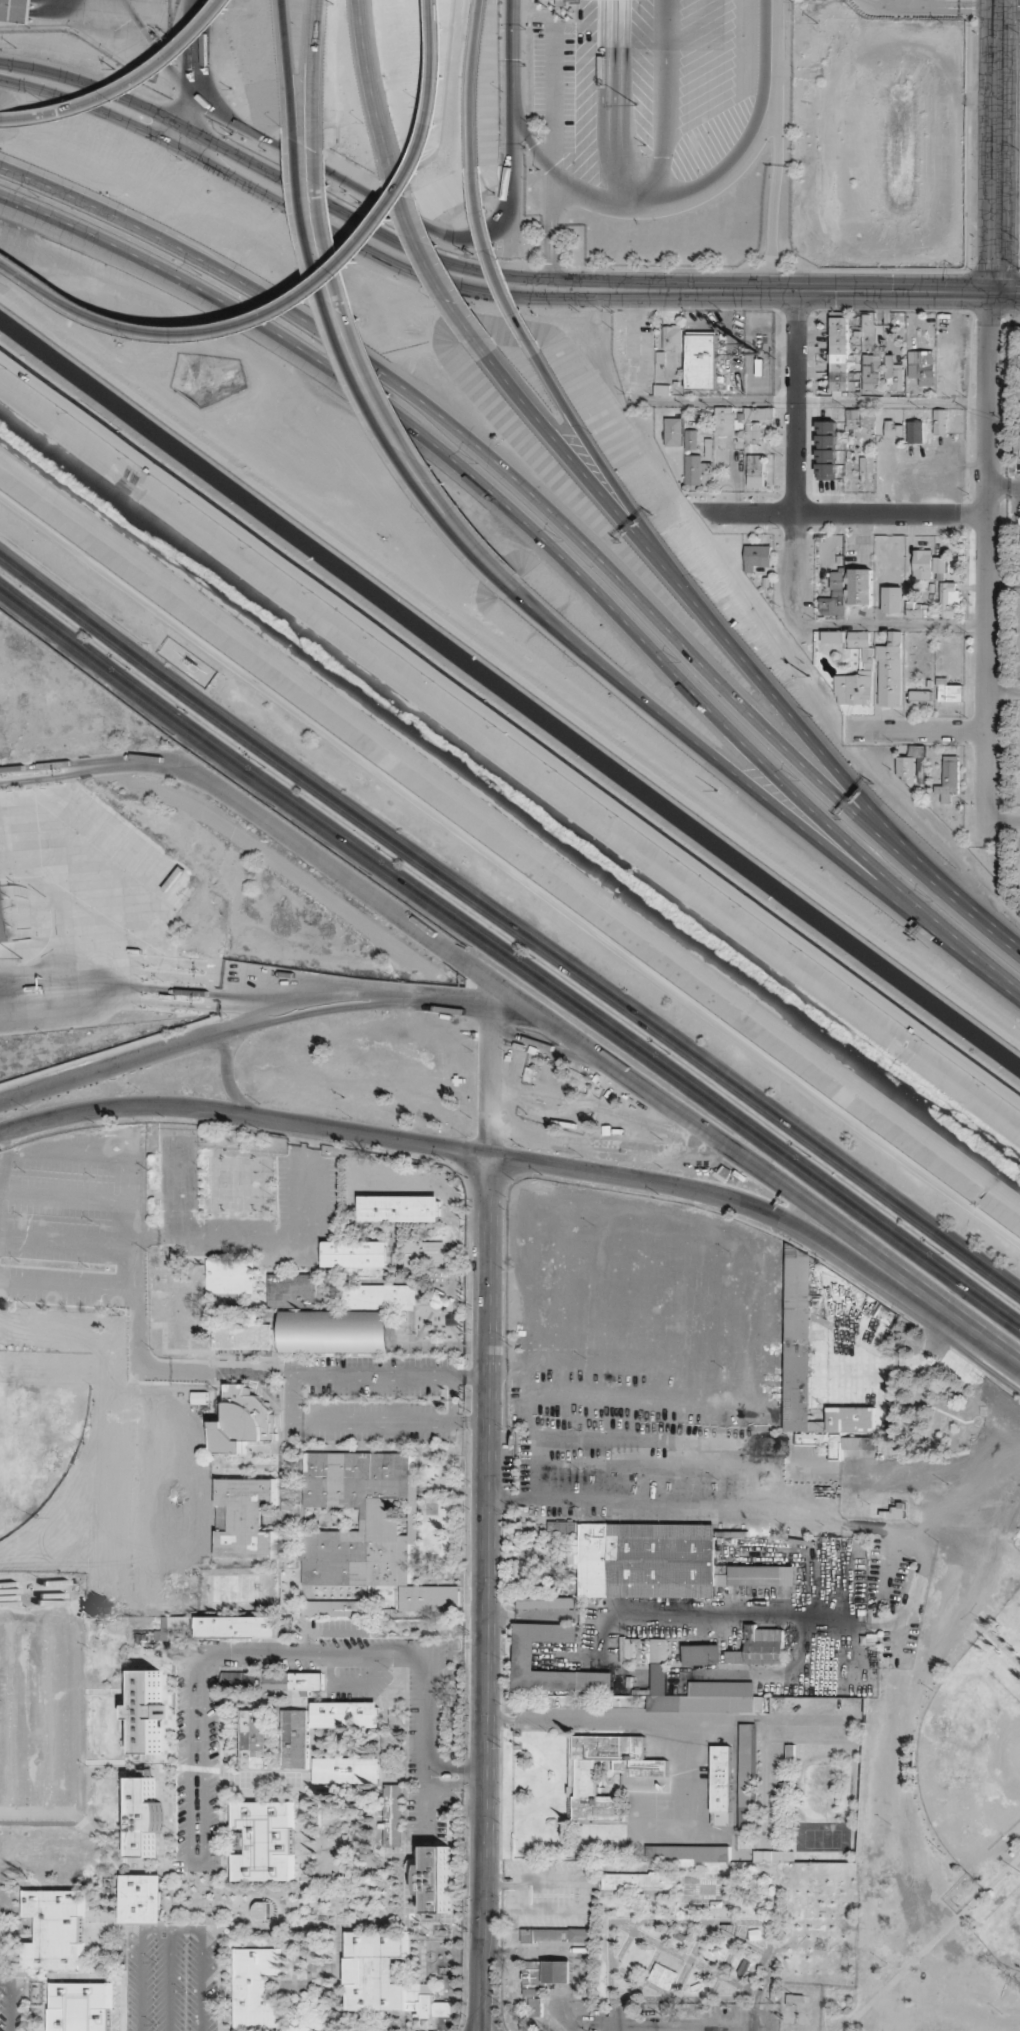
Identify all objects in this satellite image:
road: (866, 2)
road: (933, 6)
road: (1009, 7)
building: (17, 10)
road: (29, 12)
road: (284, 38)
road: (311, 41)
road: (192, 73)
road: (470, 82)
road: (126, 85)
road: (373, 95)
road: (775, 145)
road: (996, 146)
road: (337, 210)
road: (336, 231)
road: (442, 233)
road: (496, 263)
road: (442, 282)
road: (857, 291)
road: (310, 292)
road: (348, 318)
road: (332, 320)
building: (673, 338)
building: (842, 358)
building: (702, 361)
building: (922, 366)
building: (871, 372)
building: (893, 374)
road: (808, 401)
building: (741, 421)
building: (940, 421)
building: (893, 429)
building: (673, 432)
building: (691, 439)
building: (827, 441)
road: (796, 462)
road: (499, 464)
building: (695, 469)
building: (755, 471)
building: (827, 471)
road: (607, 473)
road: (589, 478)
road: (844, 514)
road: (525, 523)
building: (757, 557)
road: (486, 559)
building: (927, 564)
road: (987, 565)
building: (861, 586)
building: (834, 596)
building: (949, 598)
building: (892, 600)
building: (915, 610)
road: (890, 625)
building: (833, 637)
building: (858, 639)
building: (890, 671)
building: (856, 684)
road: (1003, 690)
building: (949, 691)
building: (920, 695)
road: (801, 730)
road: (923, 731)
building: (907, 768)
road: (738, 777)
building: (948, 779)
river: (511, 797)
road: (1002, 819)
road: (282, 837)
road: (509, 868)
road: (971, 910)
building: (5, 916)
road: (508, 932)
road: (509, 964)
road: (996, 975)
road: (149, 1002)
road: (550, 1054)
road: (587, 1057)
road: (117, 1062)
road: (219, 1070)
road: (487, 1085)
road: (580, 1108)
road: (242, 1116)
road: (588, 1146)
road: (694, 1191)
parking lot: (302, 1193)
parking lot: (72, 1220)
road: (953, 1324)
parking lot: (366, 1423)
park: (35, 1427)
road: (661, 1446)
road: (757, 1518)
building: (307, 1545)
road: (477, 1598)
building: (698, 1599)
park: (1006, 1612)
road: (774, 1620)
building: (556, 1630)
road: (928, 1654)
parking lot: (40, 1712)
parking lot: (421, 1735)
parking lot: (177, 1753)
park: (967, 1759)
building: (597, 1775)
building: (749, 1776)
building: (722, 1784)
park: (939, 1841)
building: (439, 1883)
park: (1001, 1929)
parking lot: (165, 1977)
parking lot: (9, 2005)

